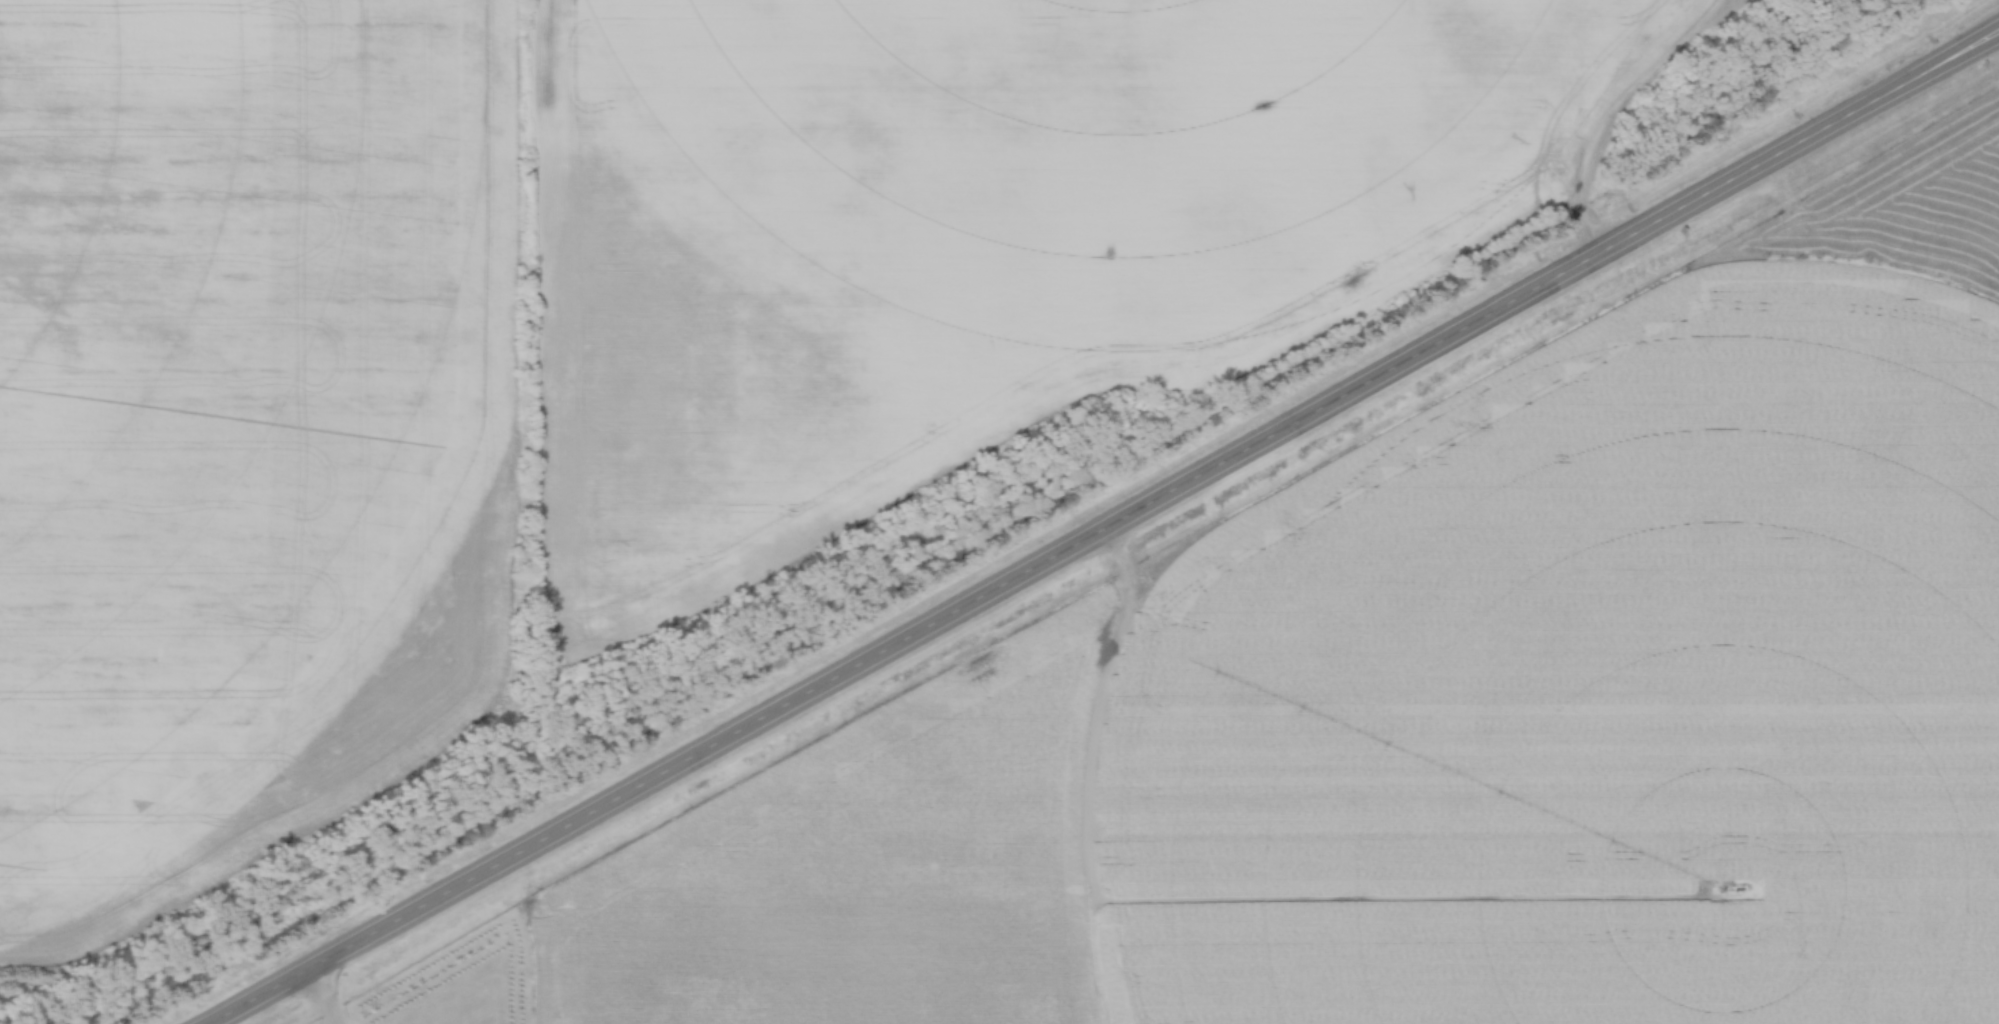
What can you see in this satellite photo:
road: (1108, 532)
road: (325, 995)

